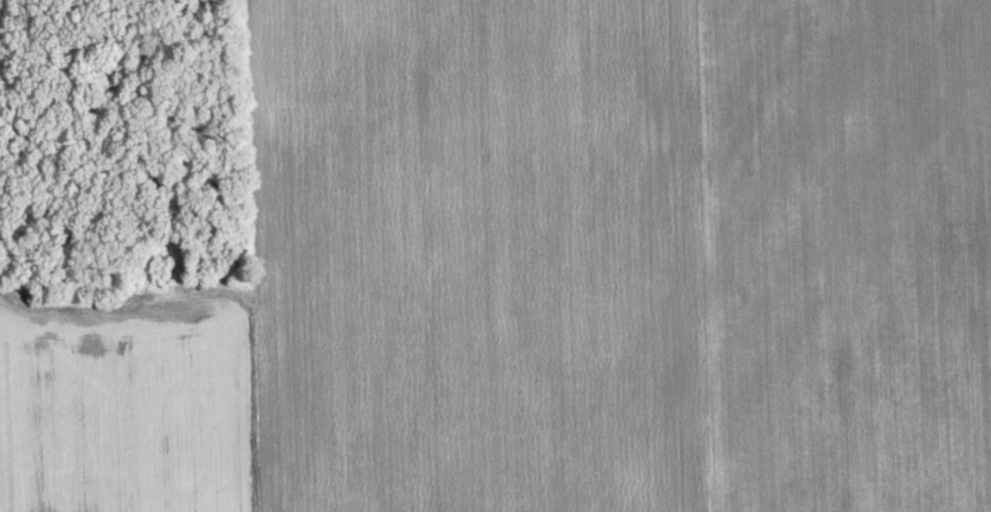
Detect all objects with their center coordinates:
crop: (844, 253)
crop: (406, 284)

